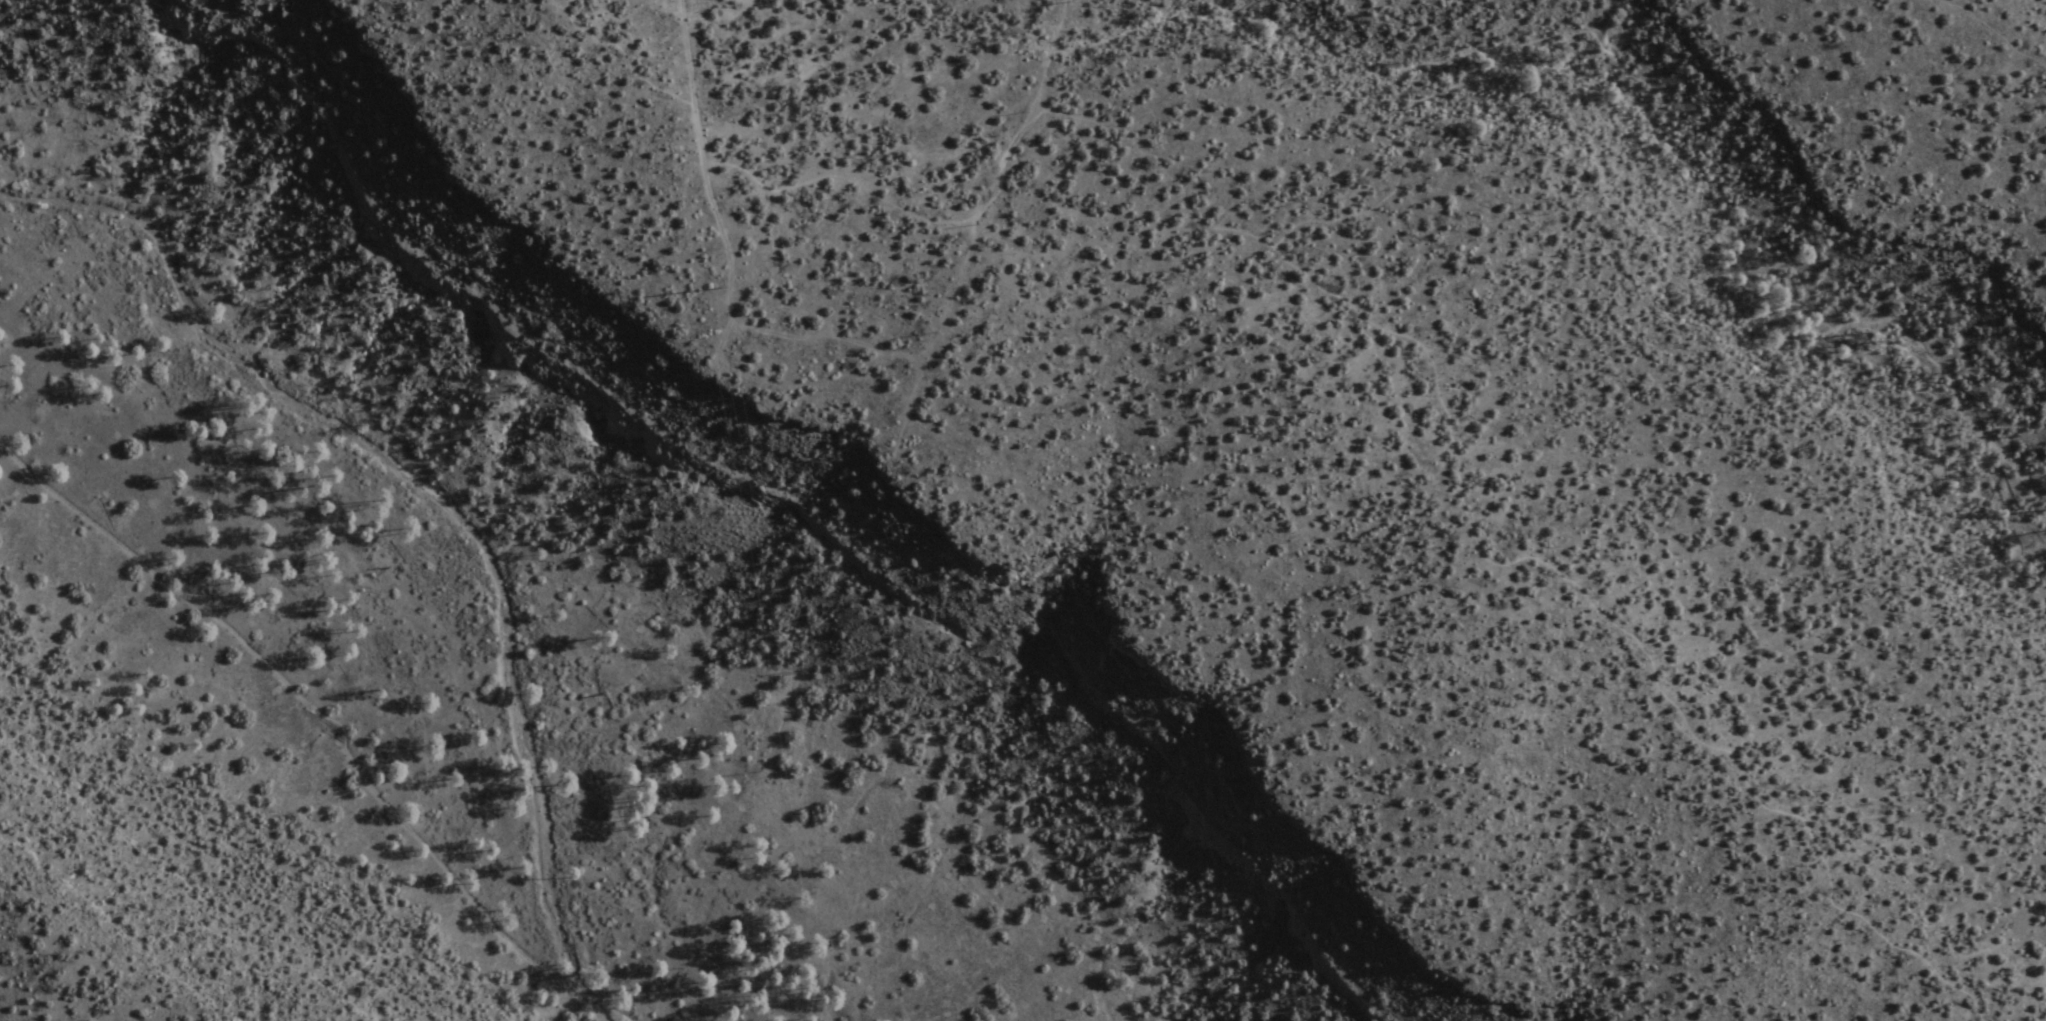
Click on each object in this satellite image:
road: (2000, 25)
road: (1055, 49)
road: (662, 87)
road: (1690, 132)
road: (876, 183)
road: (1494, 565)
road: (334, 665)

